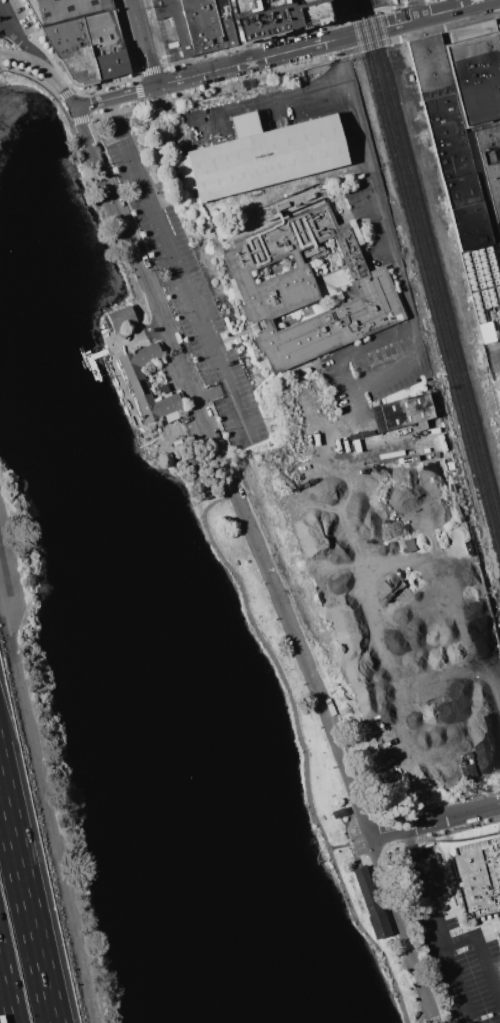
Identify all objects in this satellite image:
parking lot: (399, 1)
road: (417, 8)
road: (453, 8)
building: (66, 9)
building: (275, 15)
building: (197, 24)
road: (6, 26)
building: (103, 32)
road: (17, 36)
railway: (383, 36)
building: (67, 37)
road: (142, 43)
road: (247, 60)
road: (21, 61)
building: (112, 65)
building: (81, 66)
building: (476, 76)
road: (60, 86)
road: (240, 107)
building: (266, 154)
building: (499, 223)
railway: (432, 265)
road: (180, 270)
railway: (428, 281)
building: (307, 289)
parking lot: (189, 297)
railway: (424, 298)
road: (405, 300)
building: (122, 317)
pier: (93, 361)
road: (497, 361)
building: (136, 380)
road: (212, 390)
building: (498, 395)
road: (355, 407)
building: (403, 412)
building: (195, 470)
road: (227, 470)
road: (476, 583)
park: (161, 658)
road: (302, 747)
road: (49, 799)
building: (338, 812)
road: (435, 820)
parking lot: (355, 836)
road: (339, 846)
building: (480, 875)
road: (425, 886)
road: (28, 897)
building: (371, 904)
road: (405, 930)
road: (483, 950)
road: (458, 984)
road: (4, 1000)

